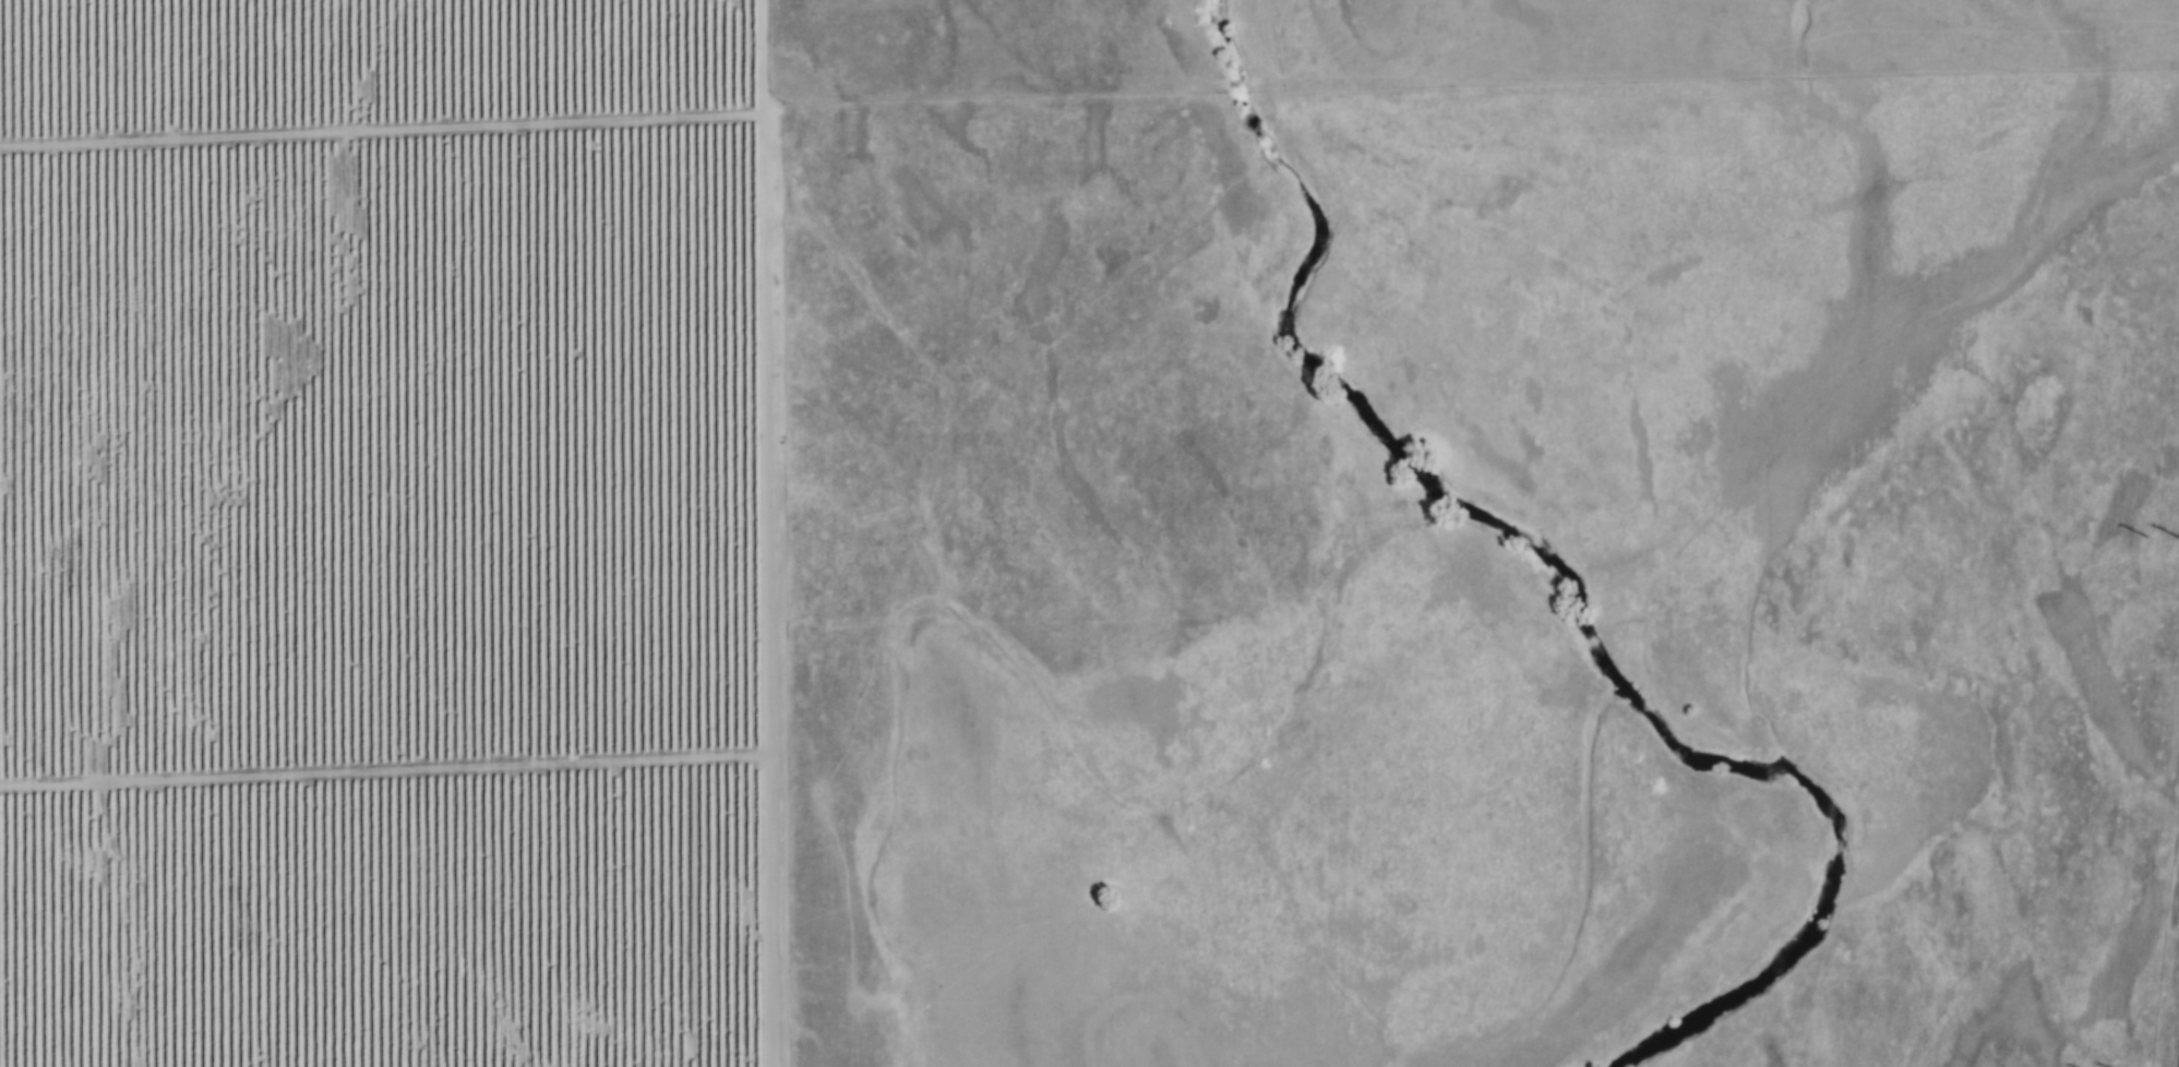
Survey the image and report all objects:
crop: (385, 533)
power tower: (2147, 552)

